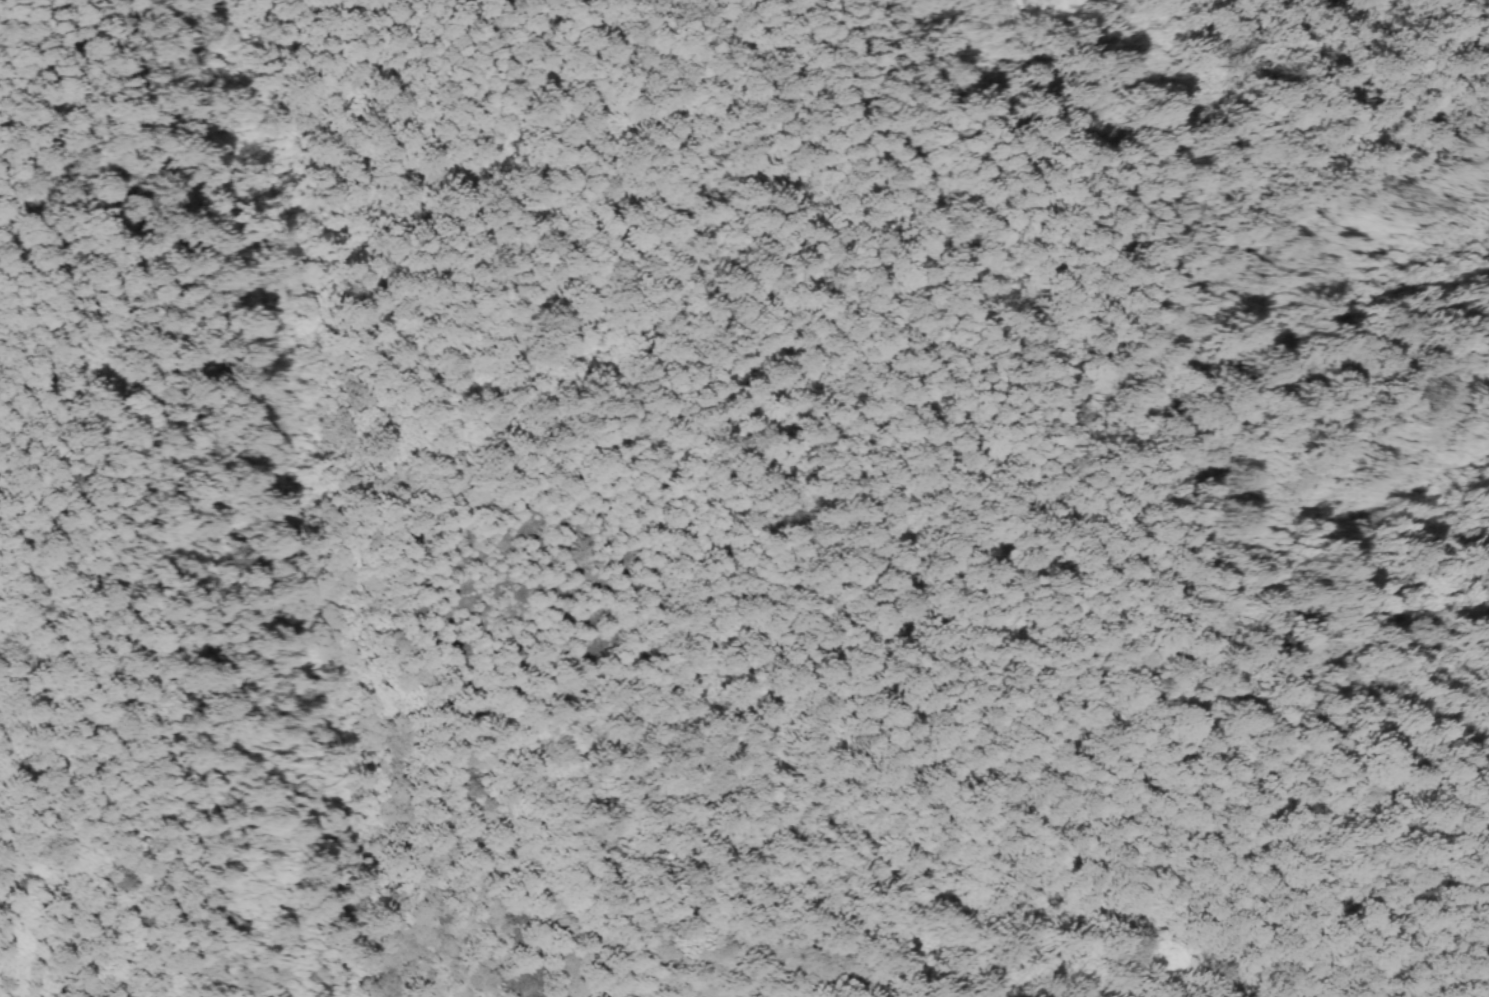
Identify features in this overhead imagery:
road: (675, 528)

